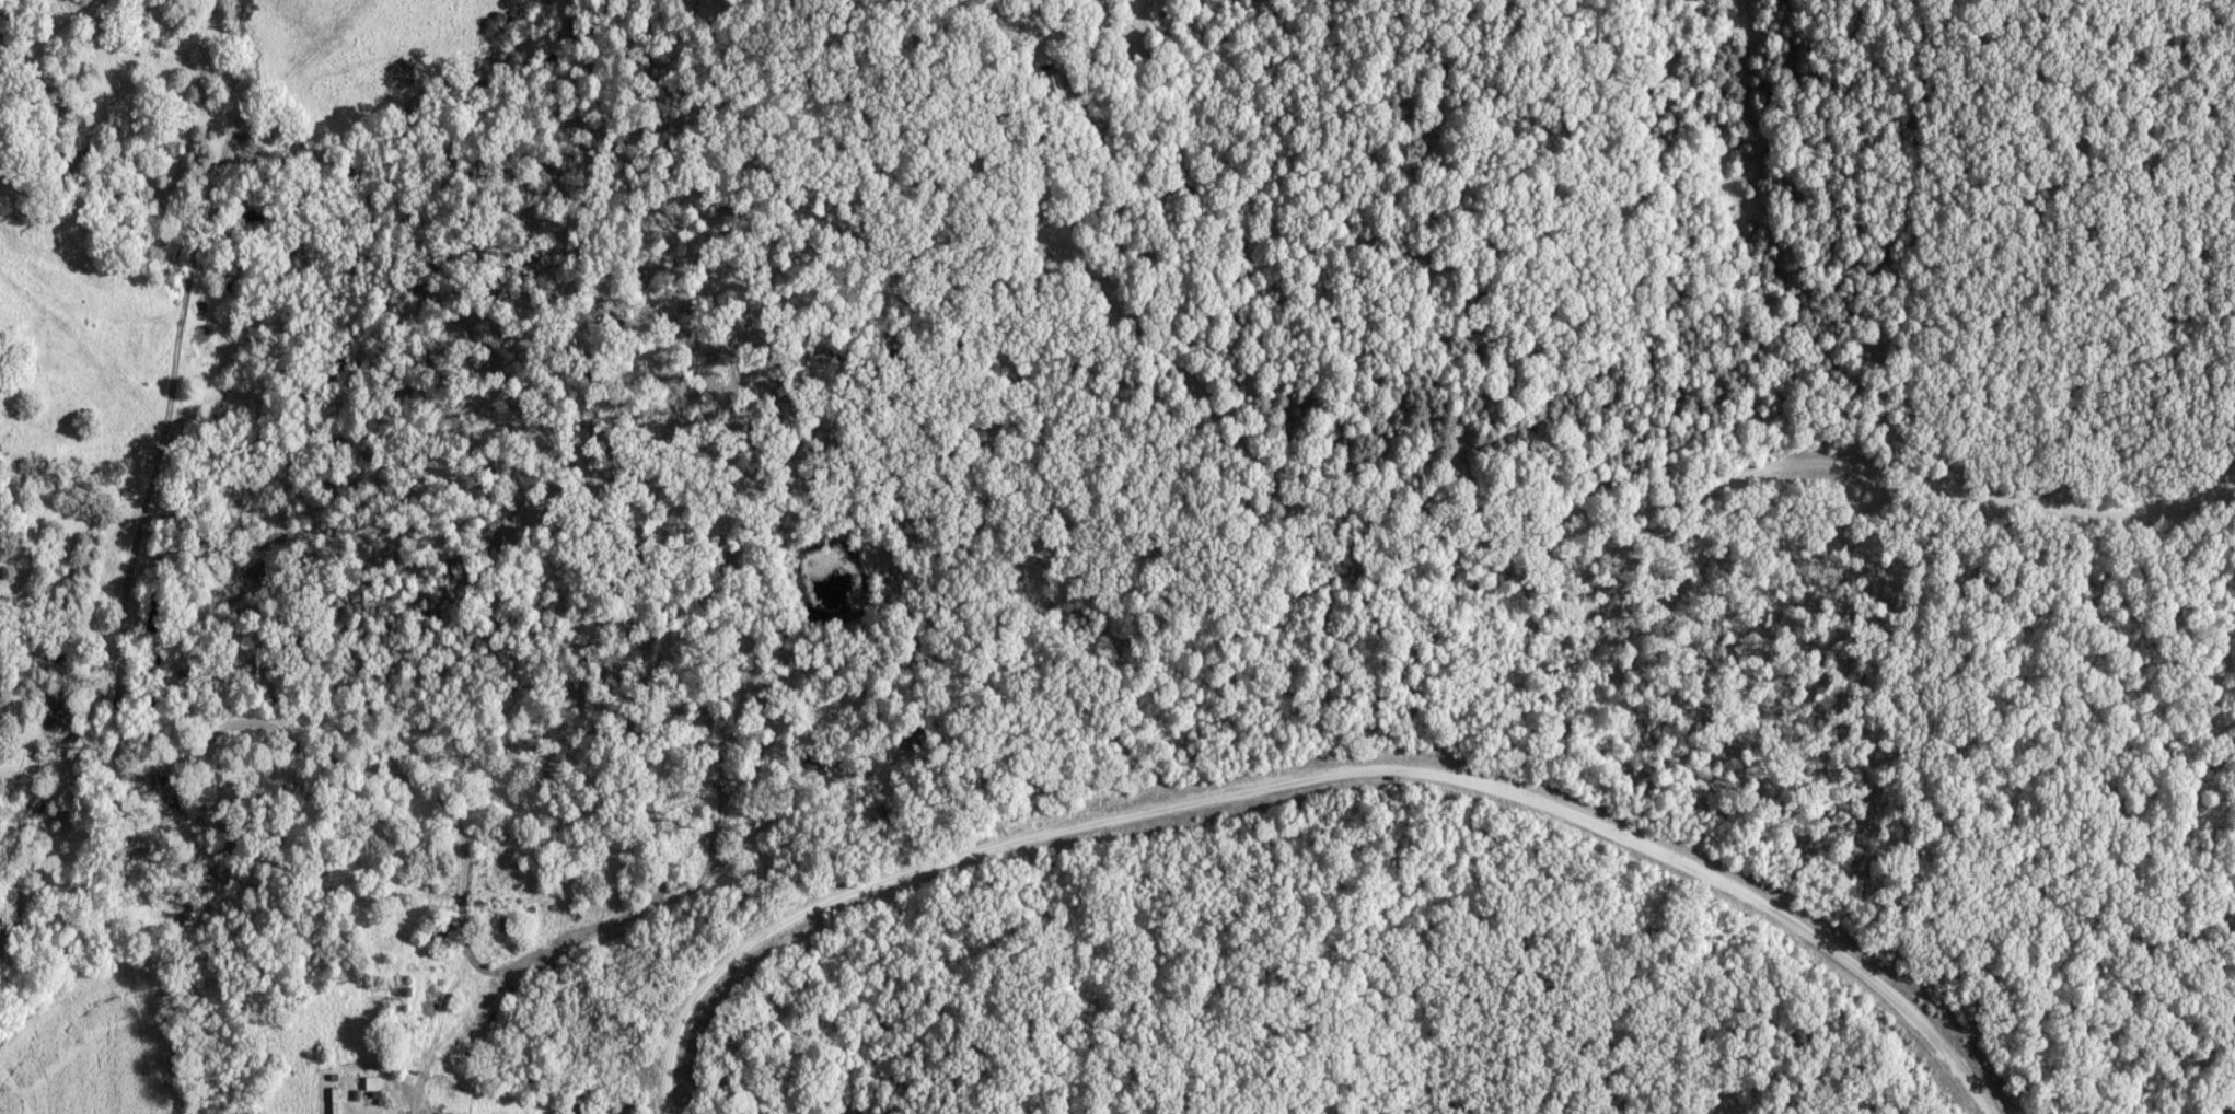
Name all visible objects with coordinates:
road: (1026, 39)
road: (1052, 40)
building: (1054, 88)
road: (1512, 515)
road: (1316, 777)
building: (509, 926)
building: (442, 931)
building: (373, 1084)
building: (438, 1113)

